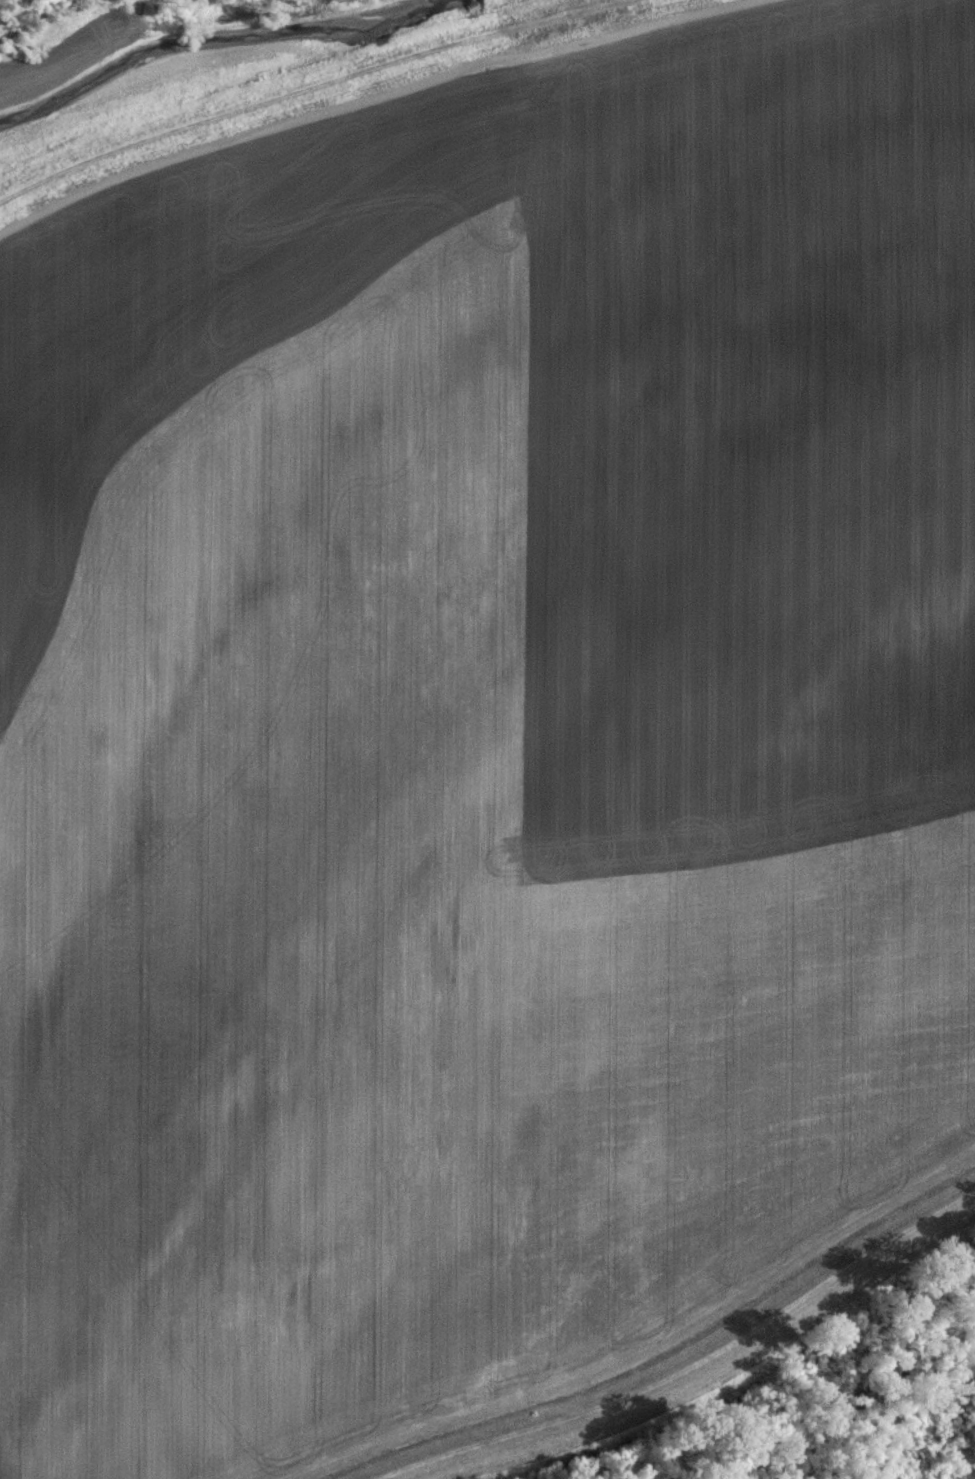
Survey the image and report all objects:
road: (704, 1366)

